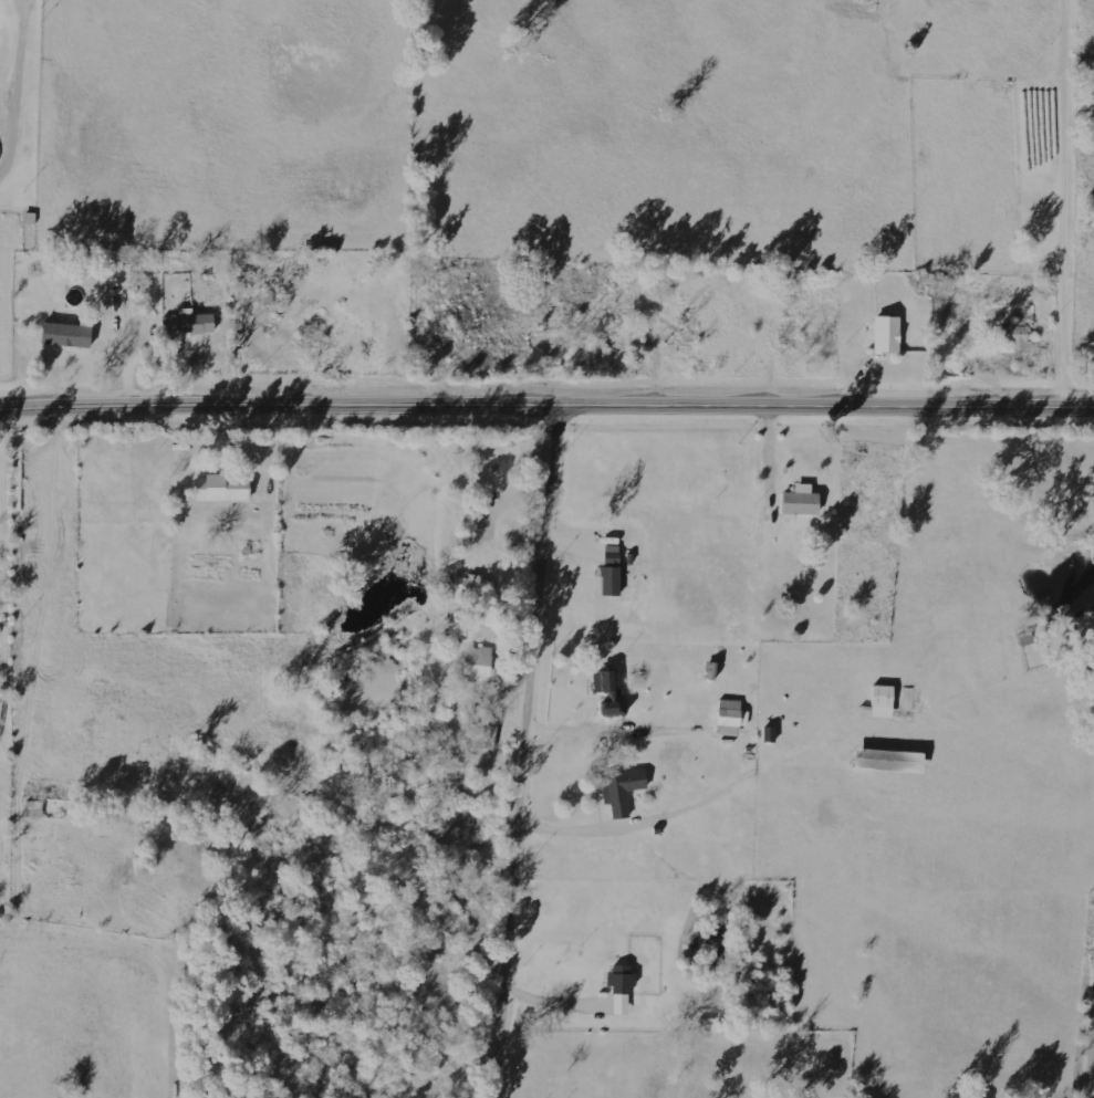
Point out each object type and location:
building: (121, 274)
building: (190, 322)
building: (65, 332)
building: (888, 333)
road: (546, 405)
building: (219, 489)
road: (3, 500)
building: (803, 500)
building: (612, 579)
building: (470, 589)
building: (479, 661)
building: (608, 689)
building: (883, 700)
building: (731, 717)
road: (531, 751)
building: (890, 760)
building: (623, 789)
building: (34, 808)
building: (622, 986)

